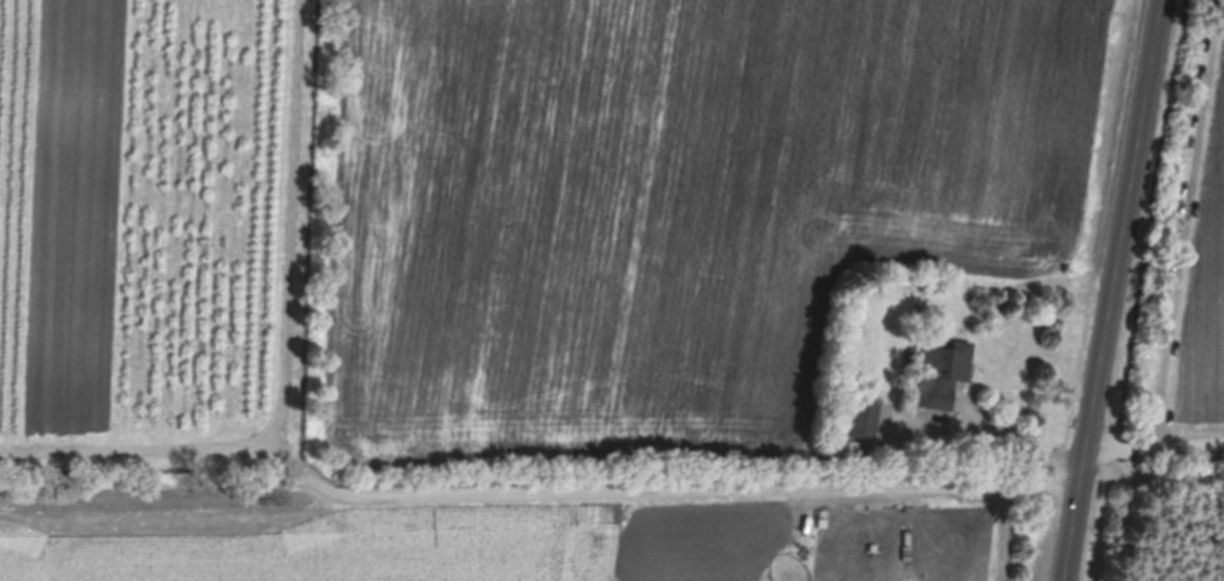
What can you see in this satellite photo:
road: (297, 222)
road: (1179, 224)
road: (1117, 290)
building: (946, 372)
building: (865, 418)
road: (995, 424)
road: (1157, 447)
road: (533, 493)

